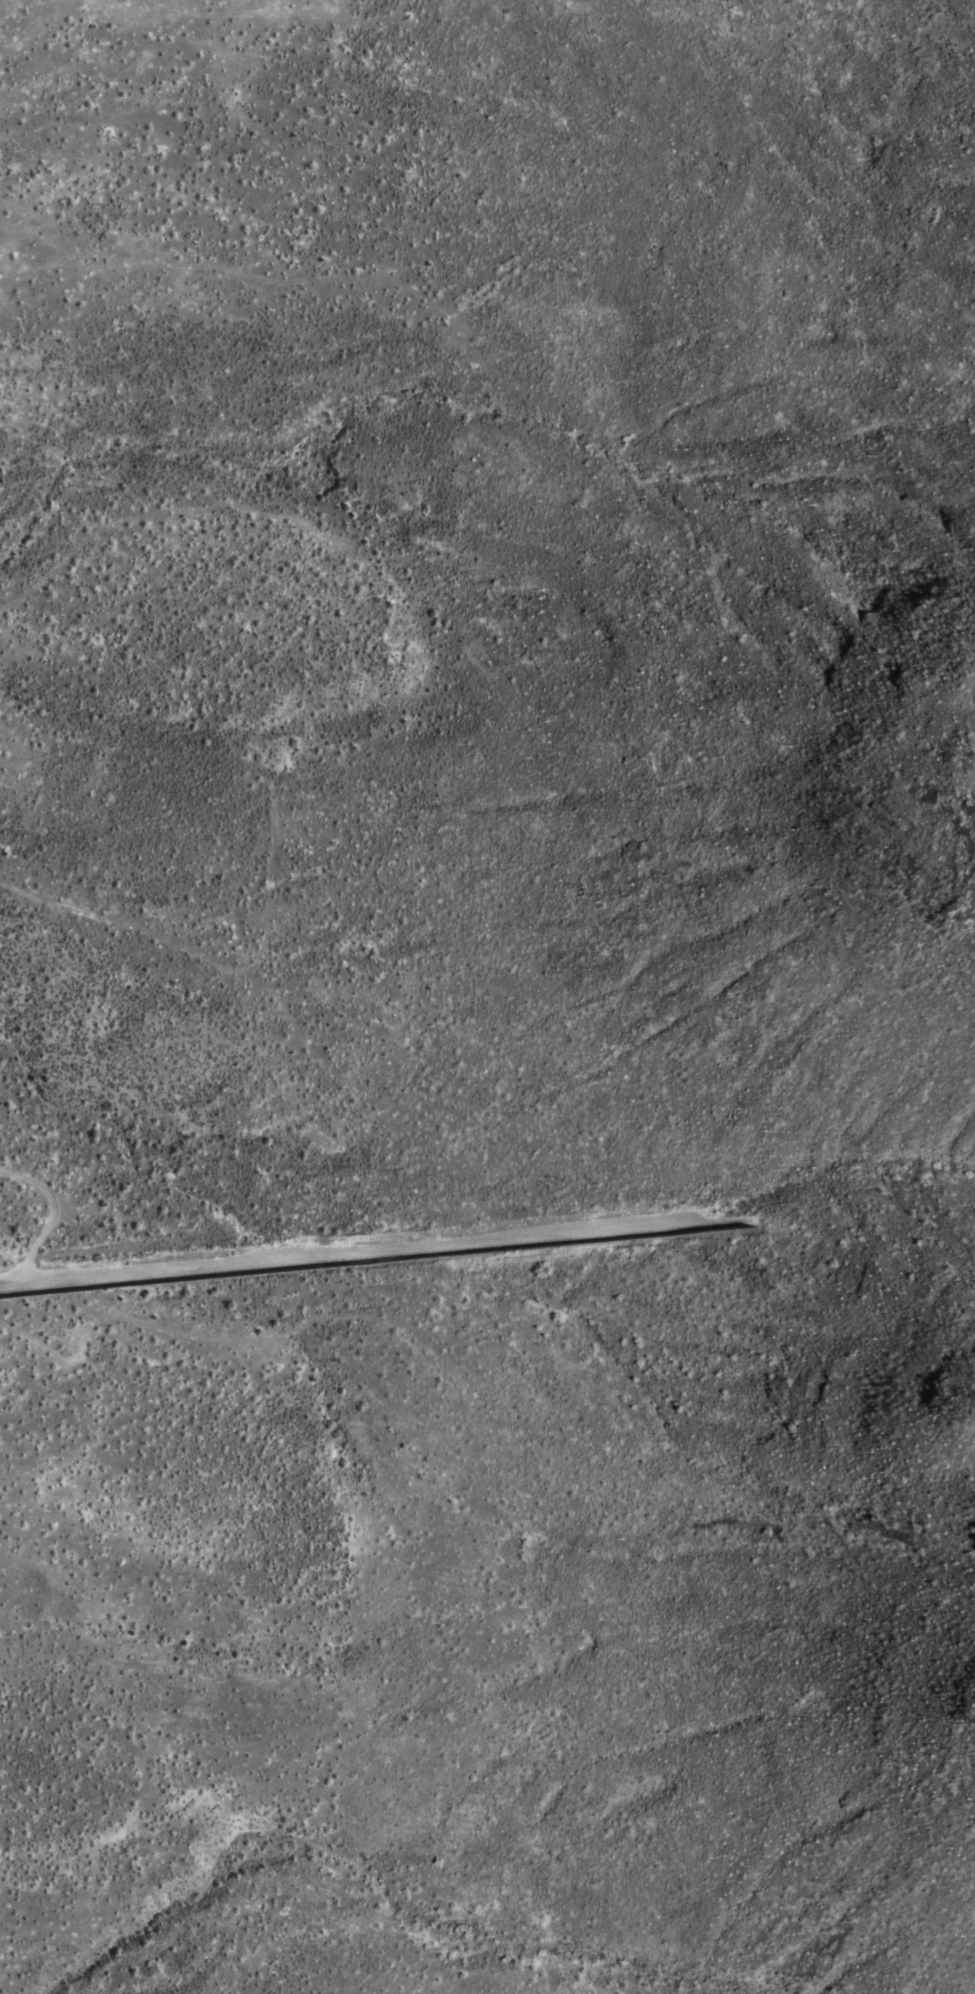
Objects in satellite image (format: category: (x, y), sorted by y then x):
road: (378, 1251)

